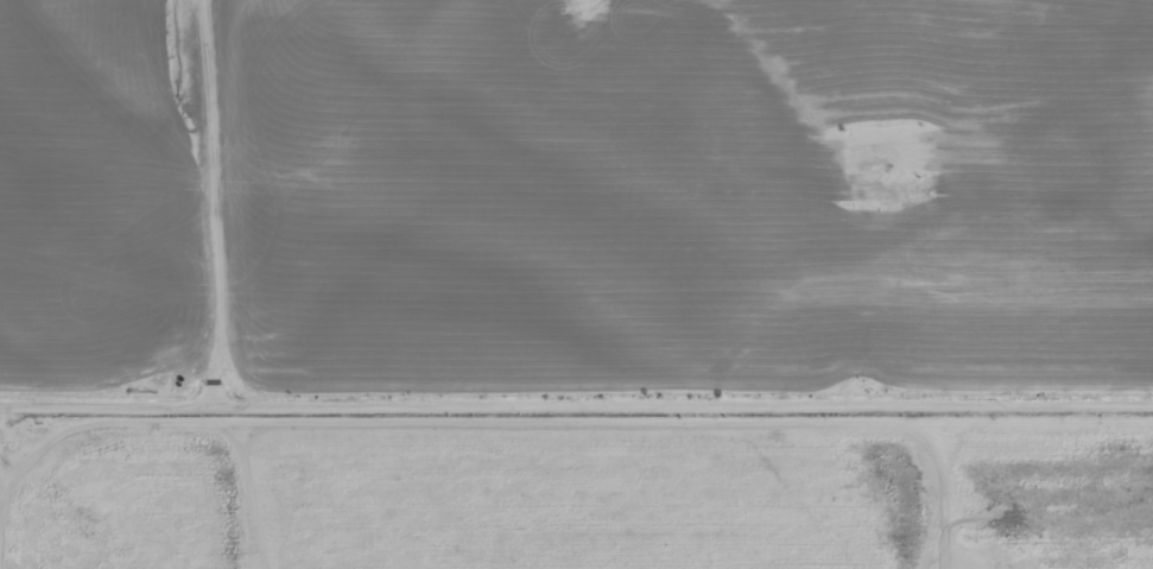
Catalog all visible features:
road: (183, 189)
road: (576, 375)

